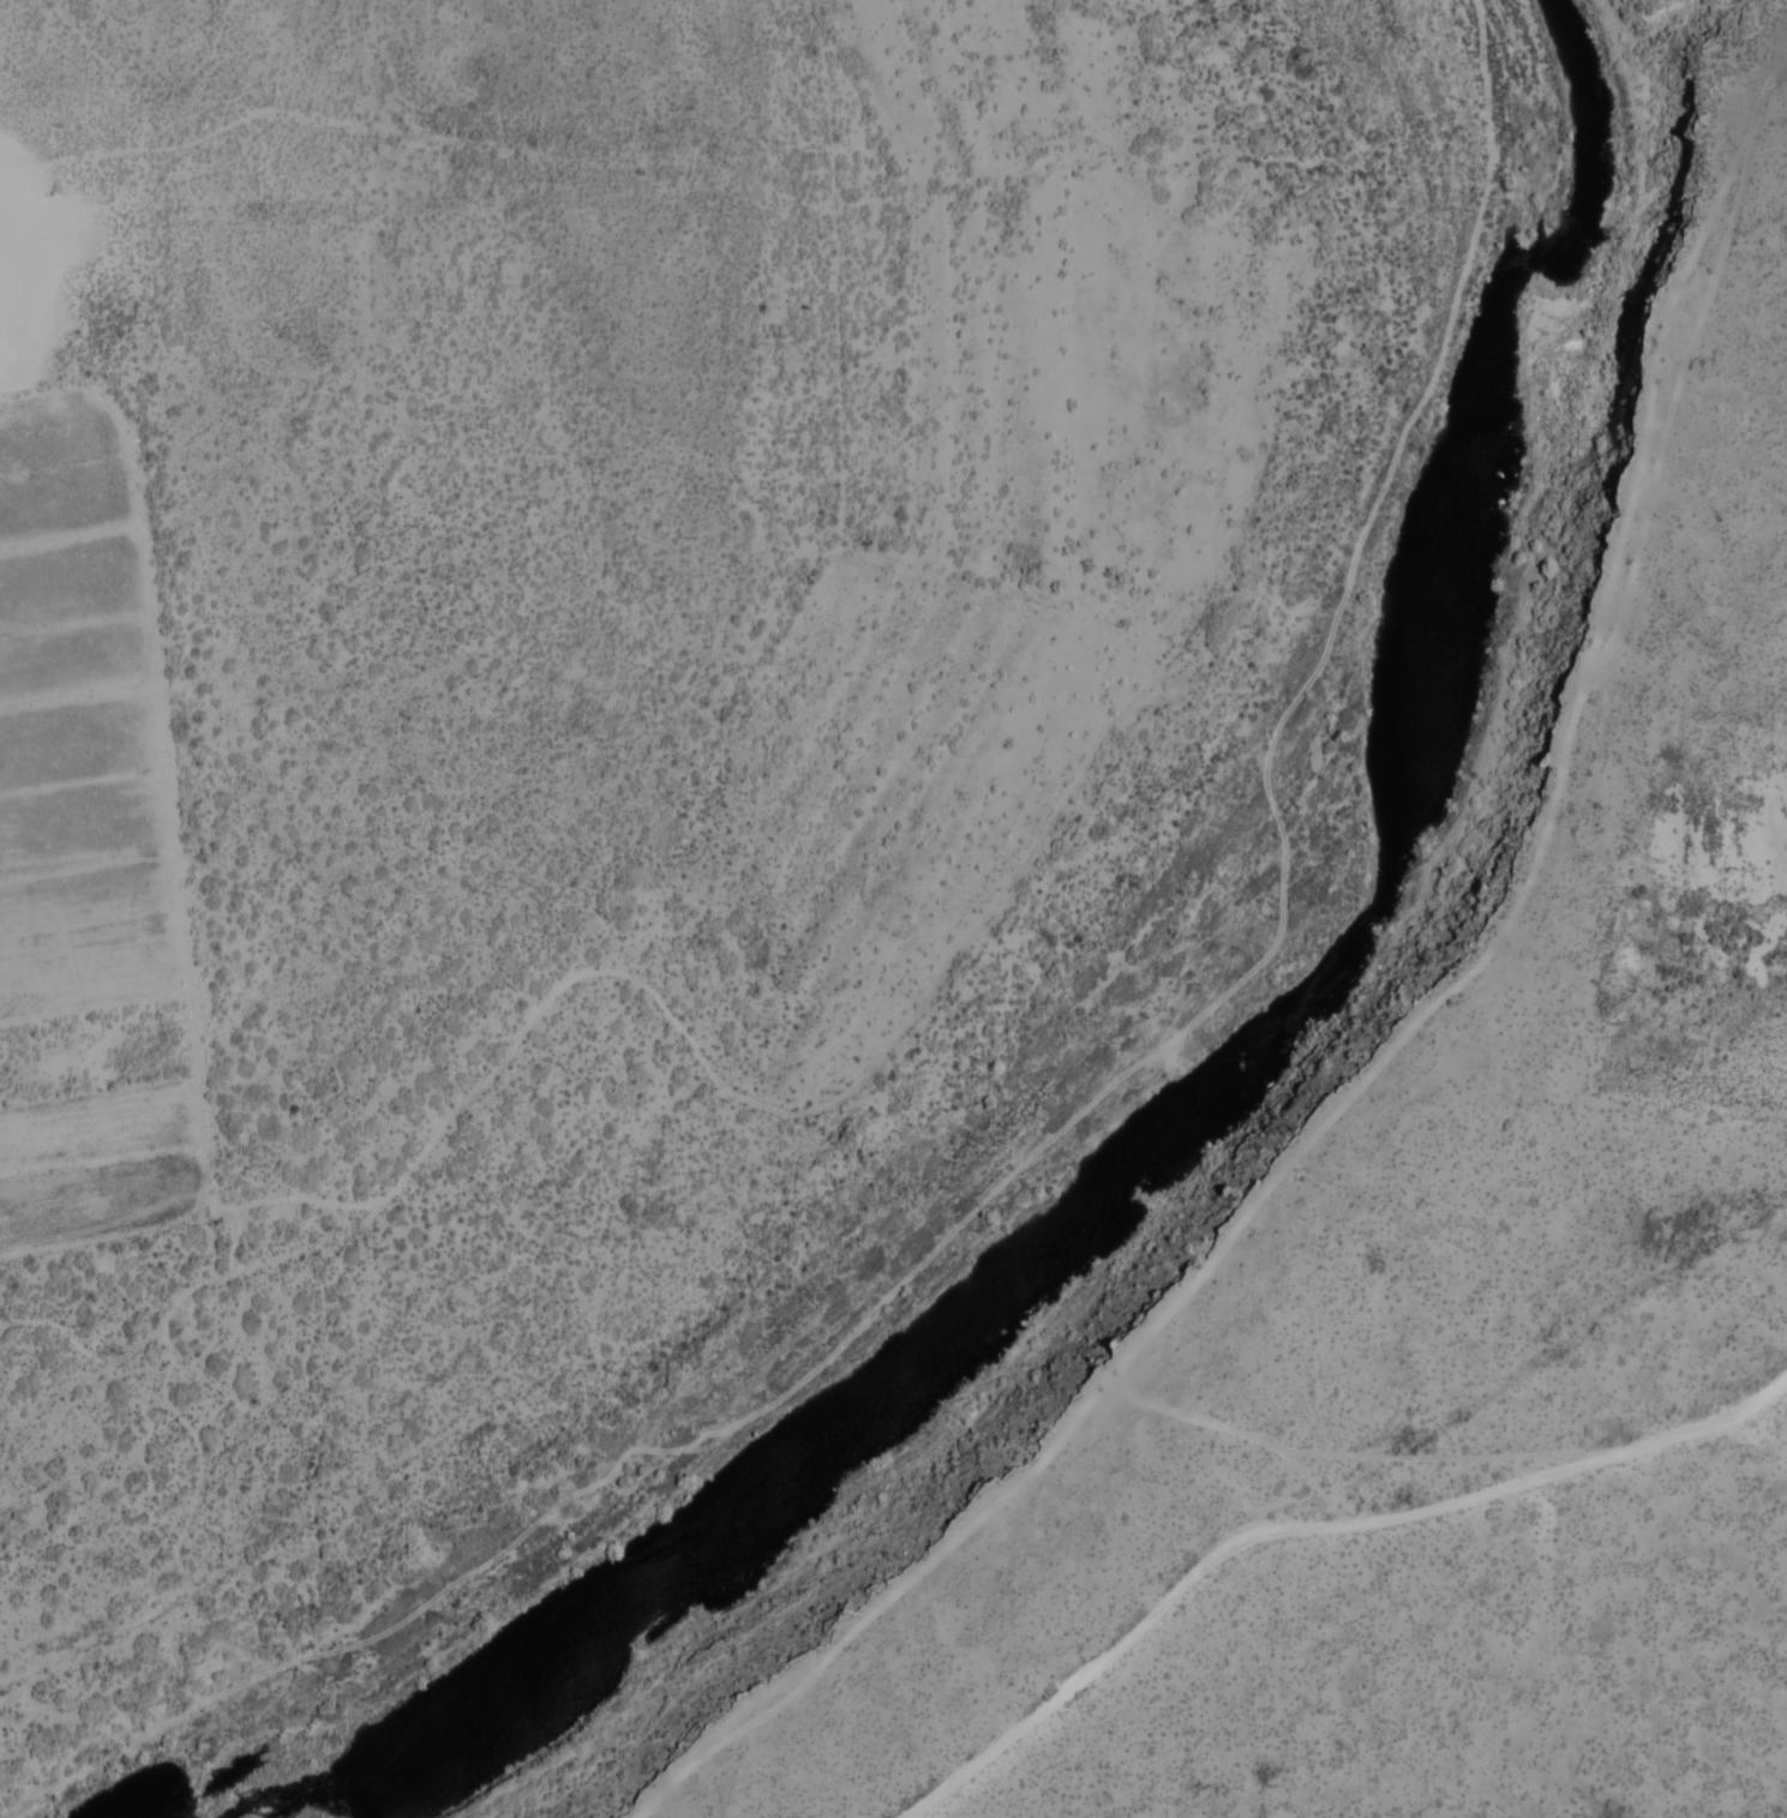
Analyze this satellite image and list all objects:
road: (1452, 989)
road: (1198, 1036)
road: (476, 1090)
road: (1396, 1093)
river: (1210, 1096)
road: (1309, 1528)

